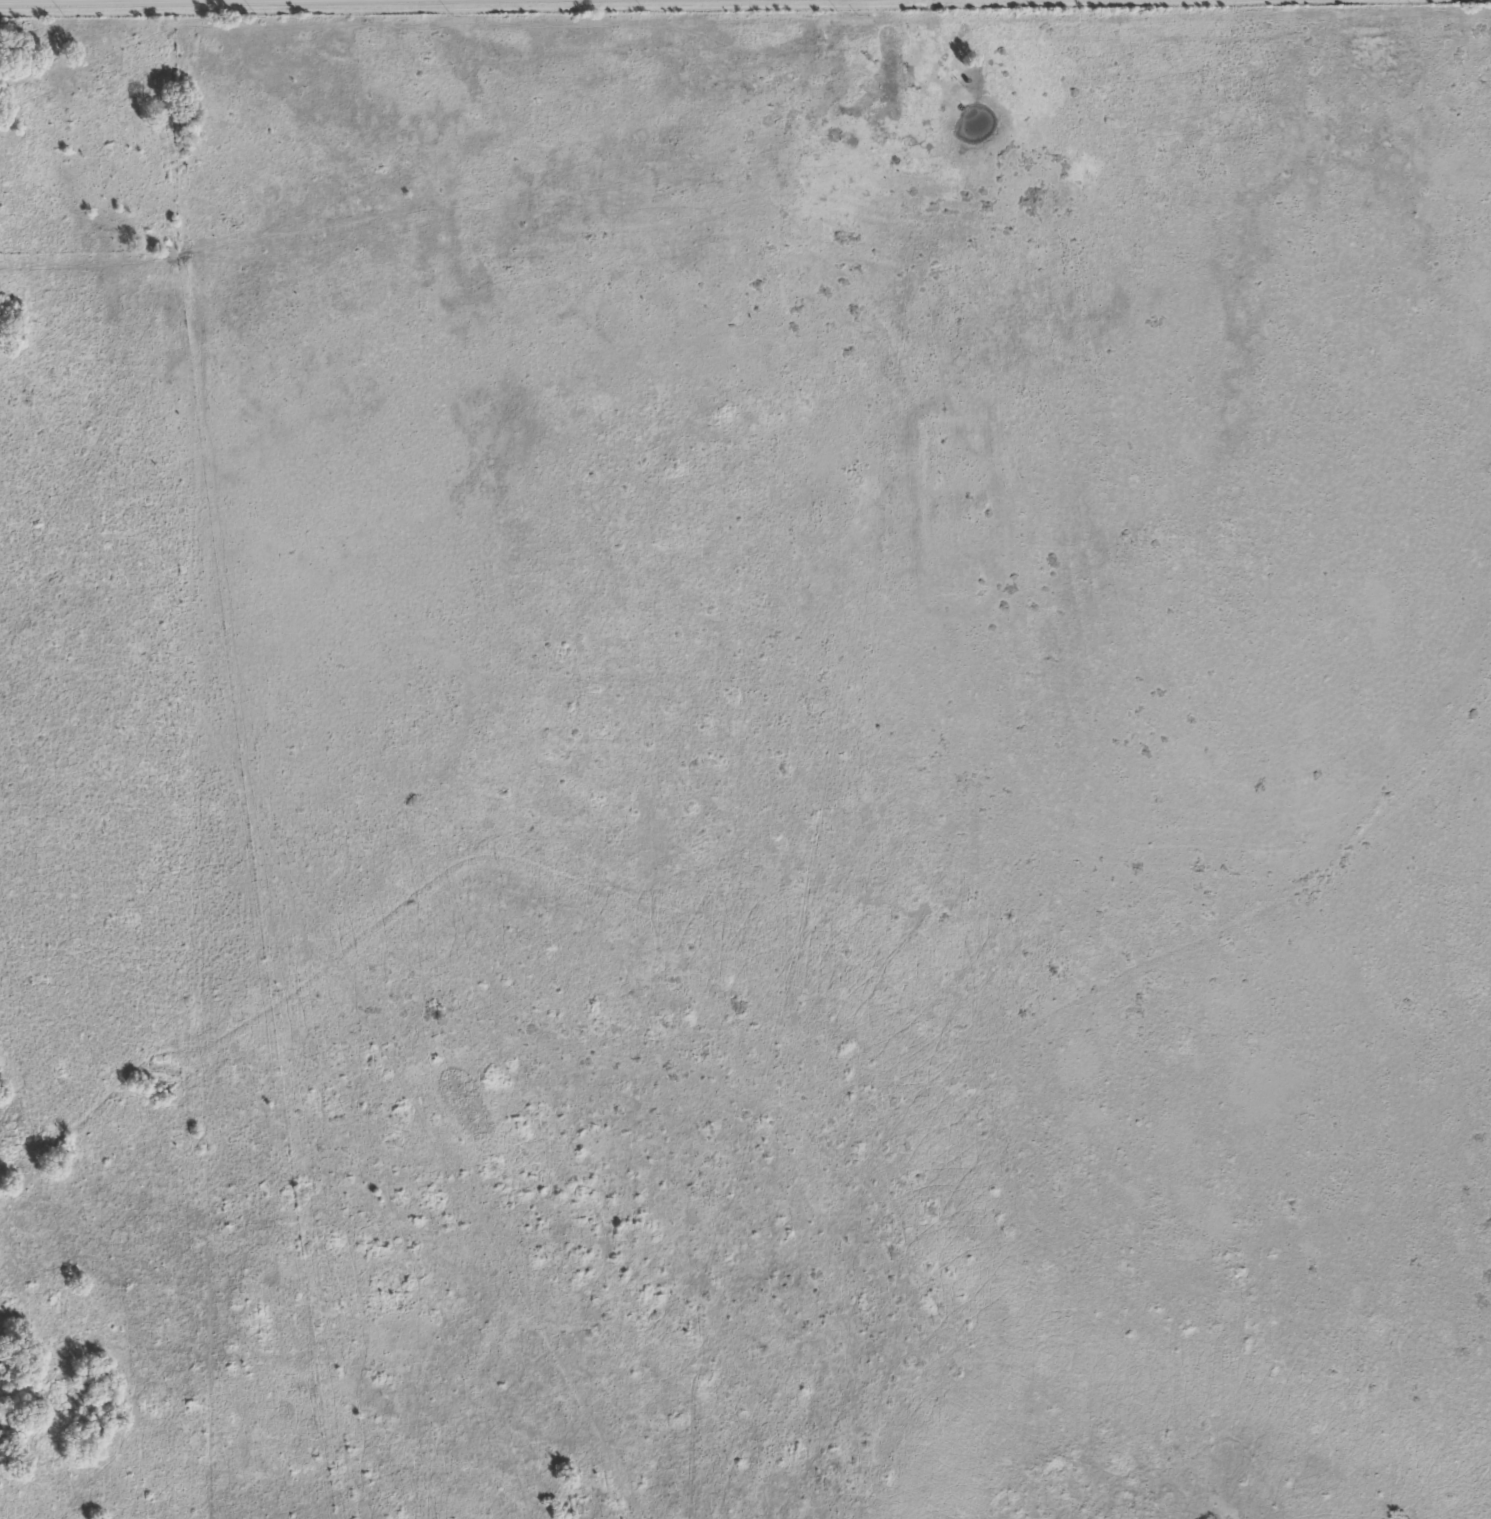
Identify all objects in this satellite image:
road: (94, 0)

